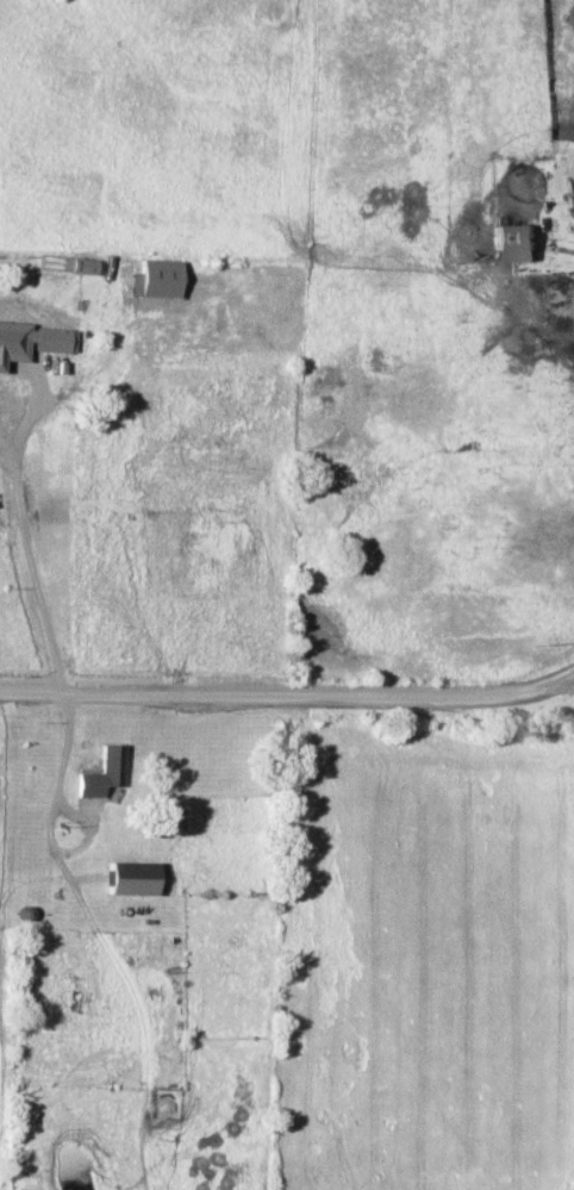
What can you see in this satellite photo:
building: (517, 243)
building: (83, 266)
building: (161, 269)
building: (210, 317)
building: (14, 331)
building: (52, 339)
road: (43, 395)
road: (33, 562)
road: (562, 687)
road: (288, 698)
road: (69, 723)
building: (111, 765)
building: (30, 780)
road: (79, 816)
building: (133, 878)

